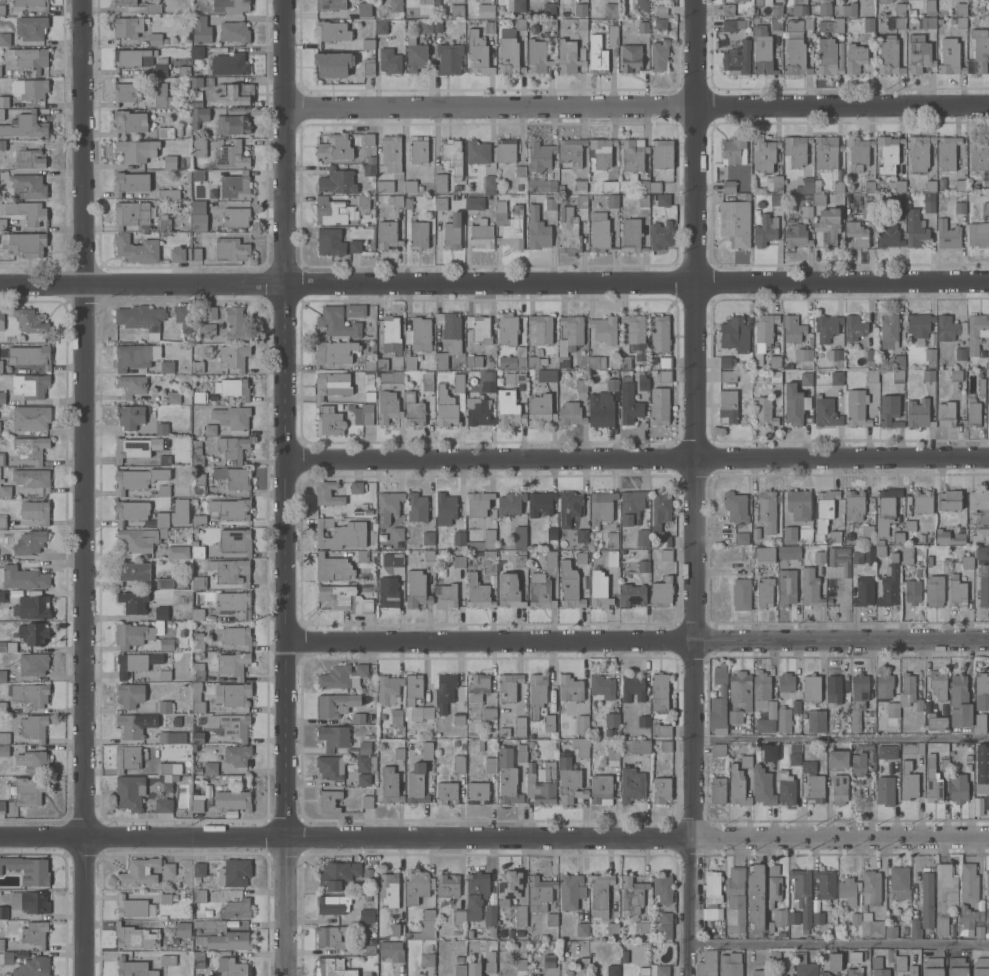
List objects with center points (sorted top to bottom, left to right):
building: (156, 0)
building: (741, 0)
building: (884, 1)
building: (762, 3)
building: (31, 4)
building: (330, 4)
building: (642, 4)
building: (930, 5)
building: (139, 6)
building: (230, 6)
building: (396, 6)
building: (427, 6)
building: (519, 6)
building: (549, 9)
building: (825, 9)
building: (845, 9)
building: (900, 9)
building: (960, 9)
building: (2, 10)
building: (364, 10)
building: (457, 10)
building: (581, 10)
building: (611, 10)
building: (728, 10)
building: (777, 10)
building: (799, 10)
building: (486, 11)
building: (660, 11)
building: (517, 16)
building: (146, 20)
building: (756, 20)
building: (895, 23)
building: (927, 23)
building: (961, 23)
building: (520, 24)
building: (551, 24)
building: (582, 24)
building: (660, 25)
building: (776, 25)
building: (869, 25)
building: (438, 26)
building: (729, 26)
building: (831, 26)
building: (128, 27)
building: (381, 27)
building: (427, 27)
building: (490, 27)
building: (643, 27)
building: (31, 28)
building: (201, 30)
building: (332, 31)
building: (234, 32)
building: (946, 33)
building: (953, 33)
building: (612, 36)
building: (5, 39)
building: (156, 39)
building: (368, 44)
building: (796, 46)
building: (762, 51)
building: (197, 52)
building: (979, 52)
building: (582, 53)
building: (415, 54)
building: (478, 54)
building: (919, 54)
building: (597, 55)
building: (659, 56)
building: (889, 56)
building: (29, 57)
building: (134, 57)
building: (509, 57)
building: (537, 57)
building: (568, 57)
building: (631, 58)
building: (738, 58)
building: (827, 58)
building: (855, 58)
building: (950, 58)
building: (449, 59)
building: (390, 61)
building: (230, 64)
building: (333, 65)
building: (368, 67)
building: (160, 70)
building: (0, 71)
building: (184, 71)
building: (160, 88)
building: (30, 89)
building: (126, 93)
building: (234, 94)
building: (197, 99)
building: (163, 100)
building: (4, 102)
road: (636, 107)
building: (2, 114)
building: (199, 116)
building: (130, 121)
building: (232, 125)
building: (26, 126)
building: (166, 132)
building: (368, 139)
building: (2, 145)
building: (245, 147)
building: (199, 148)
building: (335, 148)
building: (418, 150)
building: (796, 150)
building: (133, 151)
building: (506, 151)
building: (571, 151)
building: (477, 152)
building: (601, 152)
building: (734, 152)
building: (827, 152)
building: (919, 152)
building: (858, 153)
building: (947, 153)
building: (633, 154)
building: (662, 154)
building: (888, 154)
building: (392, 155)
building: (764, 155)
building: (978, 155)
building: (232, 156)
building: (539, 156)
building: (452, 157)
building: (30, 159)
building: (373, 161)
building: (173, 162)
building: (369, 170)
building: (520, 171)
building: (244, 172)
building: (198, 175)
building: (337, 181)
building: (130, 183)
building: (440, 183)
building: (629, 184)
building: (774, 184)
building: (941, 184)
building: (489, 185)
building: (542, 185)
building: (960, 185)
building: (28, 186)
building: (384, 186)
building: (410, 186)
building: (580, 186)
building: (610, 186)
building: (644, 186)
building: (798, 186)
building: (817, 186)
building: (900, 186)
building: (930, 186)
building: (235, 187)
building: (519, 187)
building: (655, 187)
building: (729, 187)
building: (839, 187)
building: (869, 187)
building: (457, 188)
building: (747, 188)
building: (561, 189)
building: (168, 194)
building: (744, 195)
building: (820, 199)
building: (395, 200)
building: (644, 200)
building: (663, 200)
building: (776, 200)
building: (613, 201)
building: (407, 203)
building: (475, 203)
building: (441, 204)
building: (550, 204)
building: (898, 205)
building: (582, 207)
building: (868, 207)
building: (929, 207)
building: (960, 208)
building: (339, 211)
building: (806, 211)
building: (25, 212)
building: (128, 214)
building: (197, 215)
building: (236, 217)
building: (735, 222)
building: (3, 224)
building: (163, 225)
building: (510, 225)
building: (829, 227)
building: (916, 229)
building: (980, 229)
building: (538, 230)
building: (765, 230)
building: (452, 231)
building: (599, 232)
building: (568, 233)
building: (419, 234)
building: (387, 235)
building: (482, 235)
building: (660, 235)
building: (855, 235)
building: (947, 235)
building: (632, 236)
building: (796, 237)
building: (888, 237)
building: (330, 242)
building: (24, 245)
building: (355, 246)
building: (137, 249)
building: (232, 250)
building: (179, 254)
building: (196, 254)
road: (494, 283)
building: (354, 310)
building: (209, 313)
building: (184, 318)
building: (141, 319)
building: (1, 320)
building: (30, 321)
building: (234, 322)
building: (337, 322)
building: (919, 325)
building: (826, 327)
building: (507, 328)
building: (542, 328)
building: (634, 328)
building: (854, 328)
building: (949, 328)
building: (206, 329)
building: (480, 329)
building: (605, 329)
building: (793, 329)
building: (450, 331)
building: (764, 331)
building: (889, 331)
building: (977, 332)
building: (660, 333)
building: (391, 334)
building: (419, 334)
building: (735, 334)
building: (570, 341)
building: (520, 351)
building: (335, 352)
building: (960, 353)
building: (930, 354)
building: (31, 355)
building: (234, 355)
building: (802, 355)
building: (835, 355)
building: (136, 356)
building: (870, 357)
building: (409, 361)
building: (441, 361)
building: (473, 361)
building: (774, 361)
building: (898, 361)
building: (535, 362)
building: (625, 362)
building: (665, 362)
building: (382, 363)
building: (512, 363)
building: (597, 363)
building: (727, 363)
building: (988, 363)
building: (369, 365)
building: (788, 365)
building: (806, 365)
building: (839, 365)
building: (1, 366)
building: (167, 367)
building: (198, 367)
building: (929, 375)
building: (956, 375)
building: (546, 376)
building: (665, 376)
building: (728, 376)
building: (872, 376)
building: (898, 376)
building: (392, 377)
building: (519, 377)
building: (775, 378)
building: (837, 378)
building: (806, 380)
building: (458, 382)
building: (488, 382)
building: (643, 382)
building: (427, 383)
building: (132, 385)
building: (332, 385)
building: (581, 385)
building: (612, 385)
building: (988, 385)
building: (30, 386)
building: (982, 387)
building: (233, 388)
building: (200, 396)
building: (369, 396)
building: (2, 397)
building: (213, 397)
building: (173, 398)
building: (795, 404)
building: (629, 405)
building: (660, 406)
building: (729, 406)
building: (339, 407)
building: (388, 407)
building: (445, 407)
building: (857, 408)
building: (508, 409)
building: (602, 409)
building: (413, 410)
building: (540, 410)
building: (478, 411)
building: (890, 411)
building: (764, 412)
building: (826, 412)
building: (973, 412)
building: (987, 413)
building: (362, 414)
building: (570, 414)
building: (918, 414)
building: (946, 414)
building: (130, 417)
building: (232, 417)
building: (31, 418)
building: (329, 421)
building: (162, 429)
building: (210, 430)
building: (155, 443)
building: (232, 447)
building: (32, 449)
building: (131, 449)
building: (197, 453)
road: (637, 457)
building: (2, 459)
building: (164, 461)
building: (185, 463)
building: (220, 473)
building: (32, 478)
building: (139, 479)
building: (239, 479)
building: (0, 481)
building: (199, 484)
road: (285, 487)
road: (84, 488)
building: (356, 488)
road: (694, 488)
building: (164, 490)
building: (5, 491)
building: (327, 494)
building: (949, 500)
building: (979, 500)
building: (195, 502)
building: (922, 502)
building: (541, 503)
building: (478, 504)
building: (510, 504)
building: (799, 505)
building: (854, 505)
building: (388, 506)
building: (631, 506)
building: (417, 507)
building: (569, 507)
building: (736, 507)
building: (213, 508)
building: (445, 508)
building: (601, 508)
building: (235, 509)
building: (825, 509)
building: (181, 510)
building: (661, 510)
building: (886, 510)
building: (36, 511)
building: (131, 511)
building: (768, 511)
building: (163, 521)
building: (198, 521)
building: (3, 522)
building: (867, 531)
building: (910, 532)
building: (397, 533)
building: (756, 533)
building: (341, 534)
building: (552, 534)
building: (789, 535)
building: (942, 535)
building: (981, 535)
building: (520, 536)
building: (582, 537)
building: (835, 537)
building: (428, 538)
building: (742, 538)
building: (899, 538)
building: (140, 539)
building: (459, 539)
building: (643, 539)
building: (609, 540)
building: (235, 541)
building: (484, 541)
building: (777, 541)
building: (29, 542)
building: (663, 542)
building: (177, 552)
building: (198, 552)
building: (522, 552)
building: (789, 552)
building: (572, 553)
building: (981, 553)
building: (362, 555)
building: (667, 555)
building: (764, 555)
building: (906, 555)
building: (429, 556)
building: (869, 556)
building: (819, 557)
building: (550, 558)
building: (581, 558)
building: (857, 558)
building: (894, 558)
building: (612, 559)
building: (392, 560)
building: (840, 560)
building: (520, 561)
building: (459, 562)
building: (966, 562)
building: (644, 567)
building: (333, 568)
building: (490, 568)
building: (131, 572)
building: (231, 572)
building: (441, 572)
building: (887, 577)
building: (23, 578)
building: (164, 583)
building: (199, 583)
building: (183, 584)
building: (570, 586)
building: (984, 586)
building: (787, 587)
building: (811, 588)
building: (416, 589)
building: (599, 589)
building: (509, 591)
building: (540, 591)
building: (913, 591)
building: (935, 591)
building: (957, 591)
building: (765, 592)
building: (864, 592)
building: (389, 593)
building: (478, 593)
building: (662, 593)
building: (632, 594)
building: (741, 594)
building: (3, 596)
building: (446, 596)
building: (345, 599)
building: (133, 602)
building: (233, 603)
building: (32, 606)
building: (161, 613)
building: (198, 614)
building: (33, 633)
building: (136, 634)
building: (233, 636)
building: (198, 642)
road: (637, 642)
building: (166, 644)
building: (8, 646)
building: (136, 662)
building: (33, 664)
building: (233, 664)
building: (198, 672)
building: (3, 675)
building: (165, 675)
building: (342, 676)
building: (720, 677)
building: (786, 683)
building: (938, 684)
building: (509, 686)
building: (602, 686)
building: (478, 687)
building: (884, 687)
building: (570, 688)
building: (632, 688)
building: (812, 688)
building: (388, 689)
building: (834, 689)
building: (907, 690)
building: (445, 692)
building: (659, 692)
building: (218, 693)
building: (30, 694)
building: (537, 694)
building: (131, 695)
building: (236, 695)
building: (739, 696)
building: (198, 699)
building: (858, 700)
building: (410, 702)
building: (764, 703)
building: (960, 703)
building: (981, 703)
building: (335, 705)
building: (3, 707)
building: (164, 707)
building: (892, 710)
building: (489, 713)
building: (383, 716)
building: (718, 716)
building: (359, 718)
building: (396, 718)
building: (459, 719)
building: (216, 720)
building: (612, 720)
building: (644, 721)
building: (784, 721)
building: (520, 722)
building: (816, 722)
building: (935, 722)
building: (549, 723)
building: (582, 724)
building: (172, 725)
building: (131, 726)
building: (35, 727)
building: (237, 727)
building: (505, 727)
building: (661, 730)
building: (609, 732)
building: (551, 735)
building: (172, 737)
building: (332, 737)
building: (5, 738)
building: (197, 740)
road: (841, 741)
building: (531, 744)
building: (480, 745)
building: (463, 746)
building: (666, 746)
building: (195, 747)
building: (581, 747)
building: (625, 747)
building: (640, 747)
building: (365, 748)
building: (913, 748)
building: (4, 750)
building: (427, 750)
building: (718, 750)
building: (869, 751)
building: (888, 752)
building: (521, 753)
building: (768, 753)
building: (399, 754)
building: (237, 755)
building: (613, 757)
building: (127, 758)
building: (794, 759)
building: (838, 759)
building: (34, 761)
building: (746, 761)
building: (459, 762)
building: (366, 763)
building: (859, 764)
building: (981, 764)
building: (490, 765)
building: (330, 767)
building: (170, 768)
building: (210, 768)
building: (199, 770)
building: (507, 778)
building: (364, 779)
building: (932, 779)
building: (569, 780)
building: (169, 782)
building: (813, 782)
building: (909, 782)
building: (542, 783)
building: (416, 784)
building: (389, 785)
building: (631, 785)
building: (738, 786)
building: (763, 786)
building: (786, 788)
building: (958, 788)
building: (839, 789)
building: (31, 790)
building: (601, 790)
building: (661, 791)
building: (718, 791)
building: (885, 791)
building: (130, 793)
building: (446, 793)
building: (477, 793)
building: (233, 800)
building: (328, 801)
building: (367, 802)
building: (164, 805)
building: (197, 806)
building: (2, 807)
road: (494, 837)
building: (169, 869)
building: (29, 870)
building: (199, 870)
building: (140, 872)
building: (235, 872)
building: (368, 873)
building: (337, 874)
building: (899, 883)
building: (969, 883)
building: (447, 885)
building: (416, 887)
building: (509, 887)
building: (663, 887)
building: (826, 887)
building: (871, 888)
building: (987, 888)
building: (945, 889)
building: (389, 890)
building: (774, 890)
building: (571, 891)
building: (849, 891)
building: (540, 893)
building: (476, 894)
building: (601, 895)
building: (632, 895)
building: (199, 896)
building: (712, 896)
building: (756, 896)
building: (802, 896)
building: (168, 898)
building: (368, 898)
building: (735, 900)
building: (927, 900)
building: (30, 902)
building: (332, 904)
building: (131, 907)
building: (237, 909)
building: (3, 913)
building: (490, 915)
building: (367, 916)
building: (521, 916)
building: (987, 916)
building: (459, 917)
building: (666, 918)
building: (793, 918)
building: (823, 918)
building: (778, 919)
building: (856, 919)
building: (552, 920)
building: (970, 923)
building: (210, 925)
building: (941, 925)
building: (643, 927)
building: (871, 927)
building: (424, 928)
building: (613, 929)
building: (915, 929)
building: (183, 930)
building: (582, 930)
building: (397, 932)
building: (492, 932)
building: (665, 932)
building: (890, 932)
building: (35, 934)
building: (469, 935)
building: (127, 936)
building: (334, 936)
building: (224, 941)
building: (2, 944)
road: (839, 944)
building: (370, 950)
building: (391, 951)
building: (413, 951)
building: (583, 955)
building: (624, 957)
building: (6, 958)
building: (528, 958)
building: (775, 958)
building: (198, 959)
building: (459, 959)
building: (427, 960)
building: (168, 961)
building: (549, 961)
building: (898, 961)
building: (834, 962)
building: (490, 963)
building: (521, 964)
building: (707, 964)
building: (730, 964)
building: (33, 967)
building: (333, 967)
building: (932, 967)
building: (957, 967)
building: (981, 967)
building: (133, 968)
building: (235, 969)
building: (474, 969)
building: (642, 969)
building: (806, 969)
building: (460, 970)
building: (613, 970)
building: (660, 970)
building: (853, 972)
building: (879, 972)
building: (759, 973)
building: (373, 974)
building: (825, 974)

